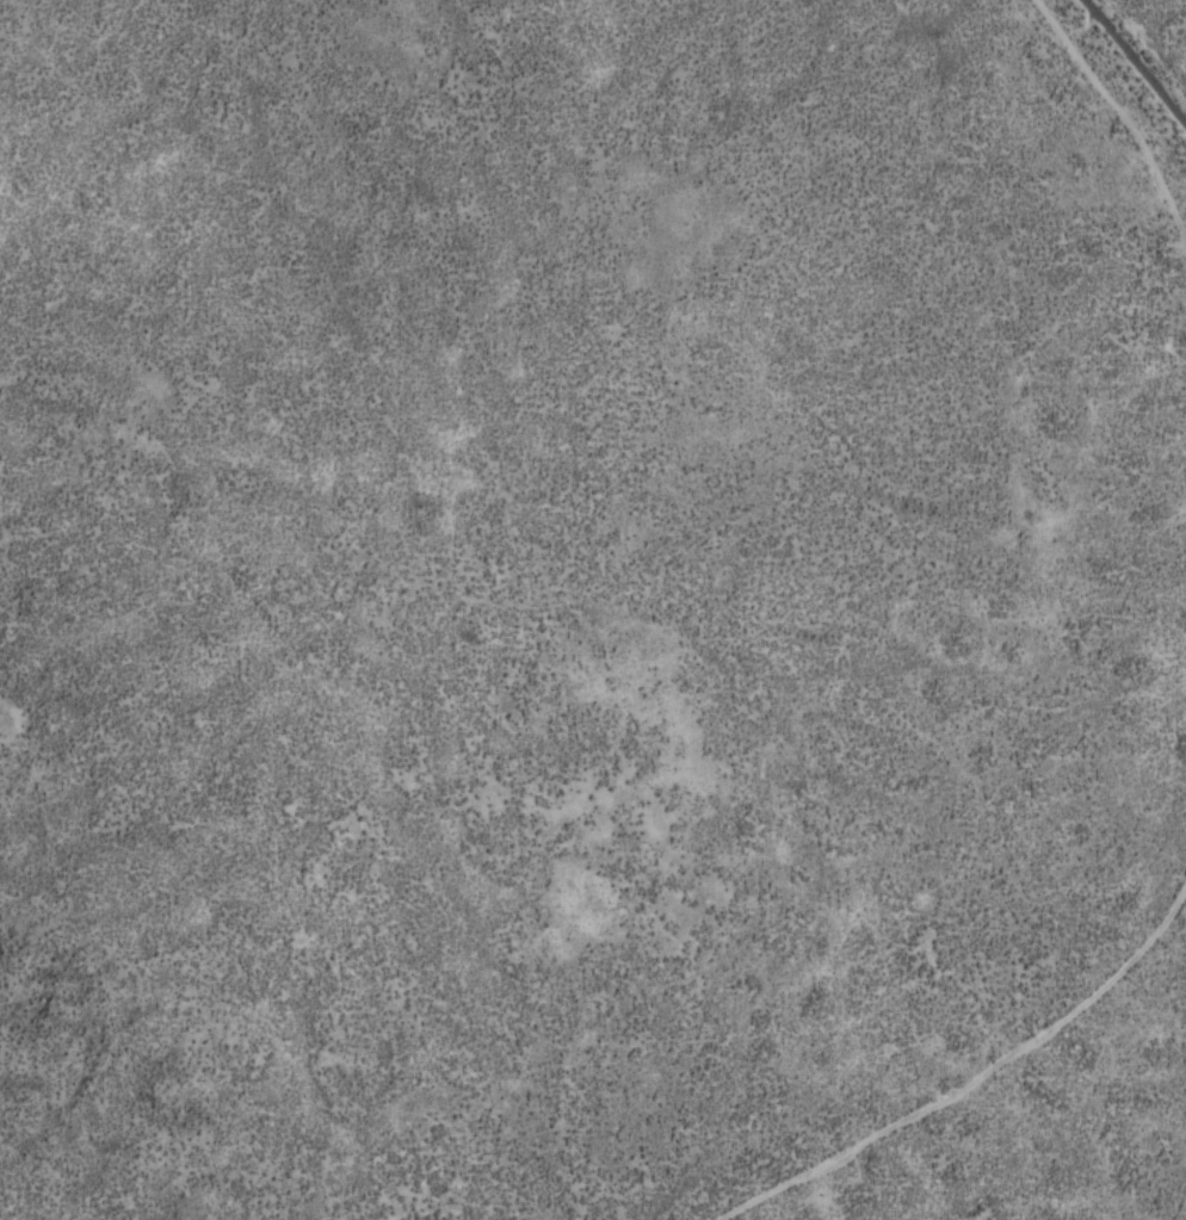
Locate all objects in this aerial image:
road: (1124, 112)
road: (974, 1084)

